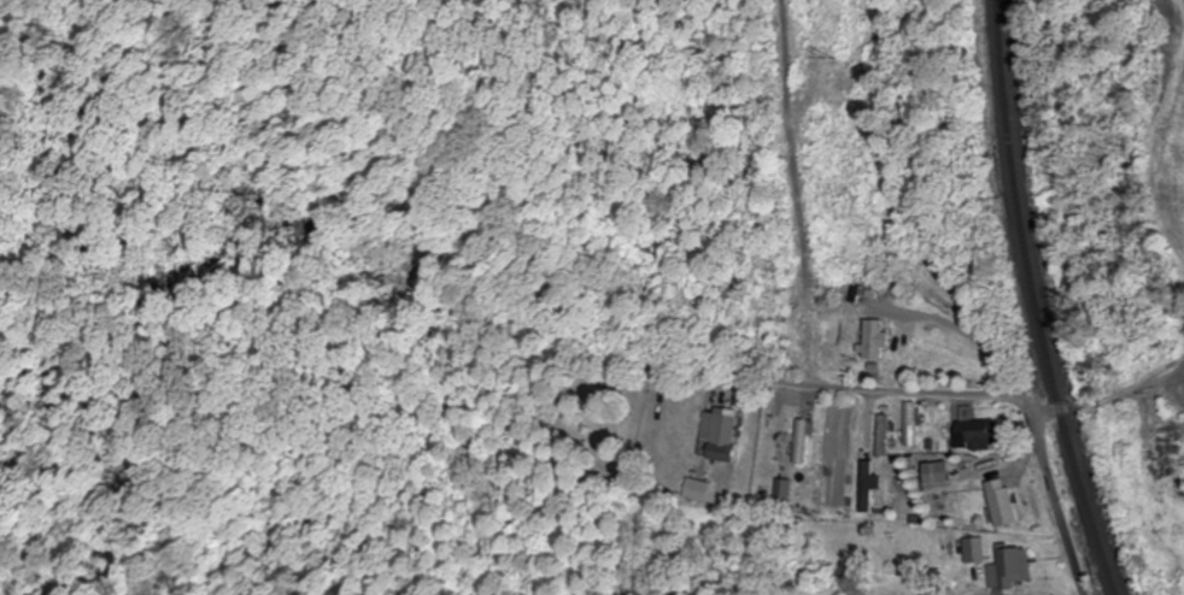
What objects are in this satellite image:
railway: (1036, 300)
building: (874, 338)
road: (983, 403)
building: (909, 423)
building: (974, 434)
building: (883, 435)
building: (719, 436)
building: (801, 442)
building: (781, 490)
building: (1000, 502)
building: (1010, 567)

